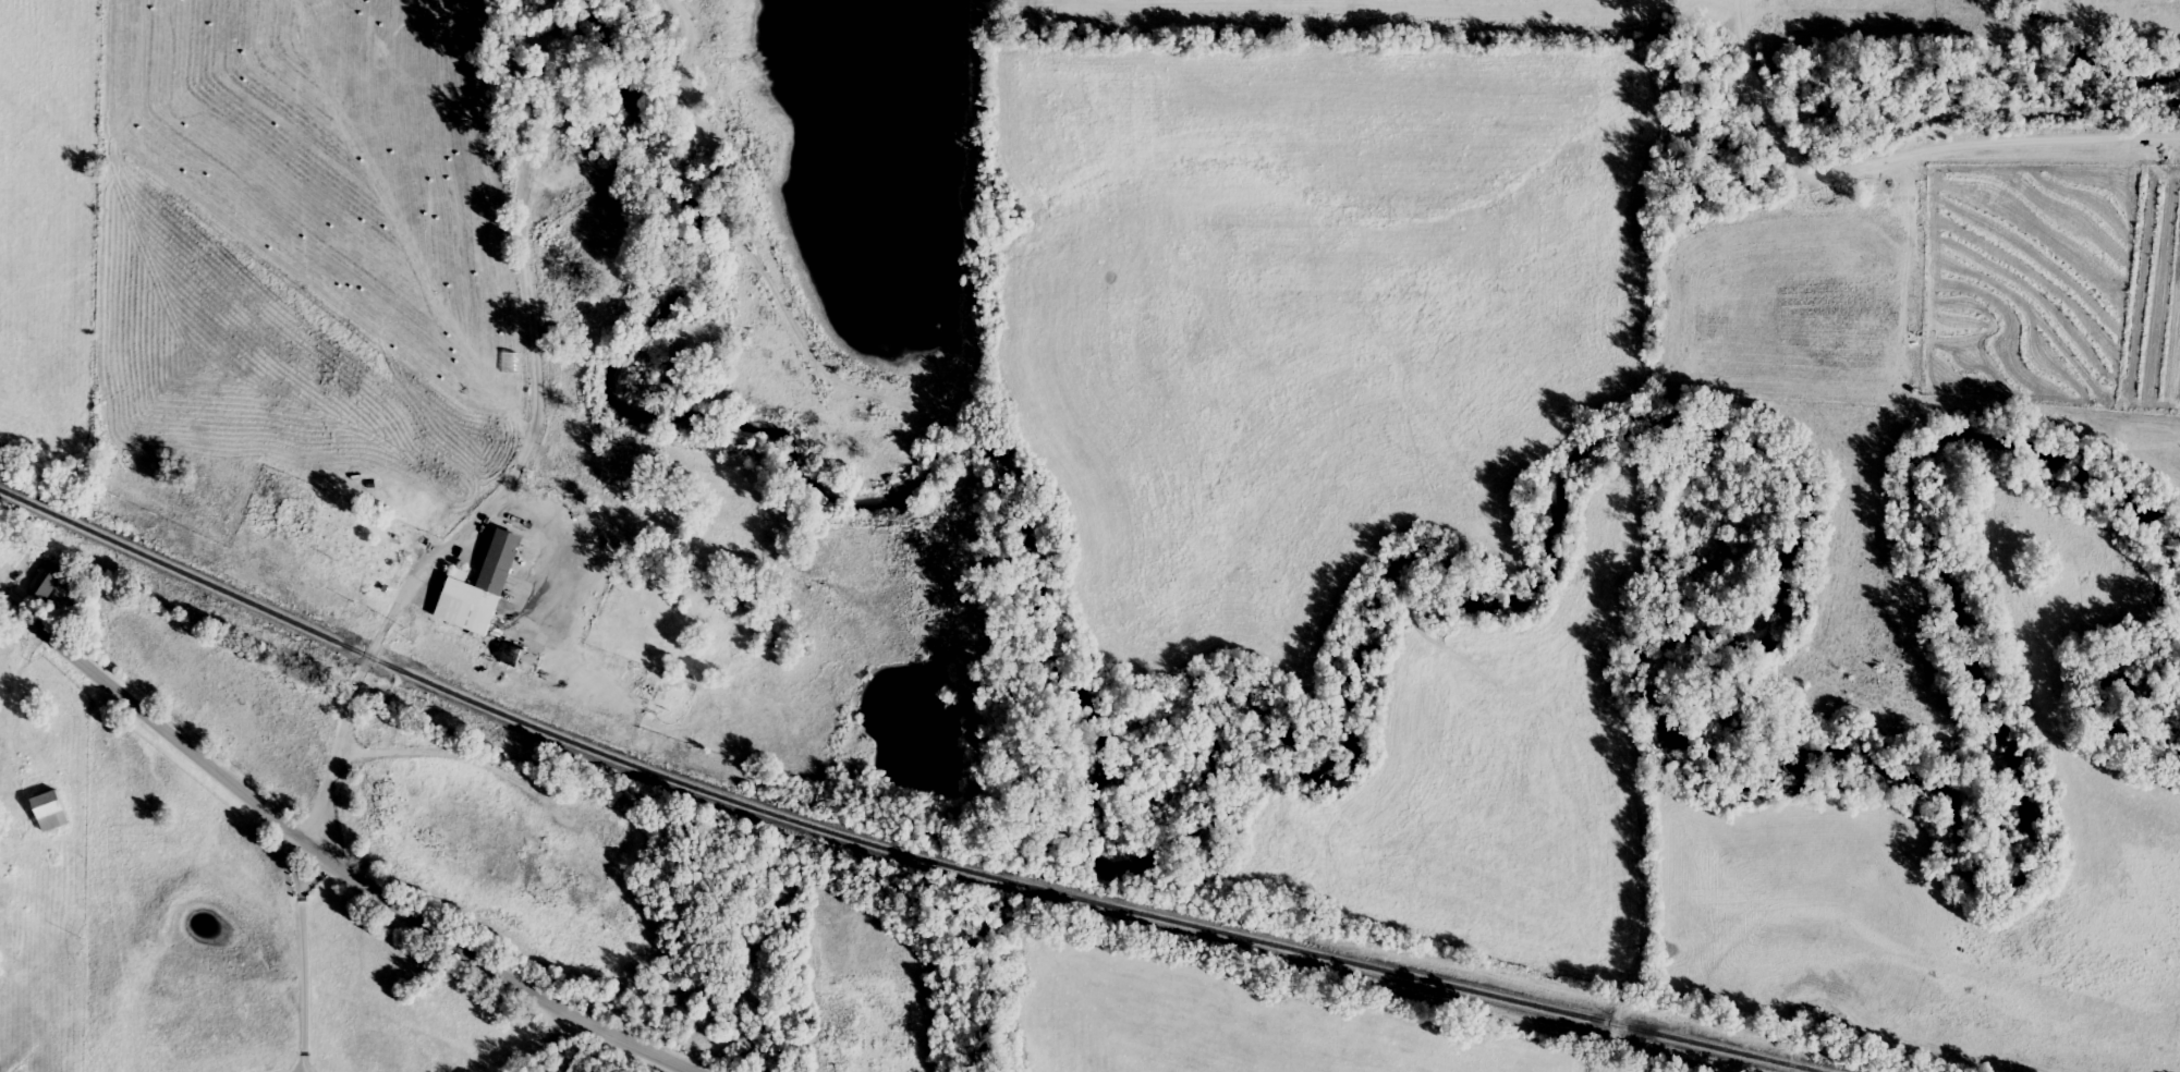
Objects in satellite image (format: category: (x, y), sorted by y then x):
road: (1901, 153)
building: (360, 561)
building: (47, 583)
building: (480, 590)
road: (369, 665)
building: (50, 813)
railway: (889, 851)
road: (327, 860)
road: (304, 963)
road: (1954, 1047)
road: (307, 1070)

